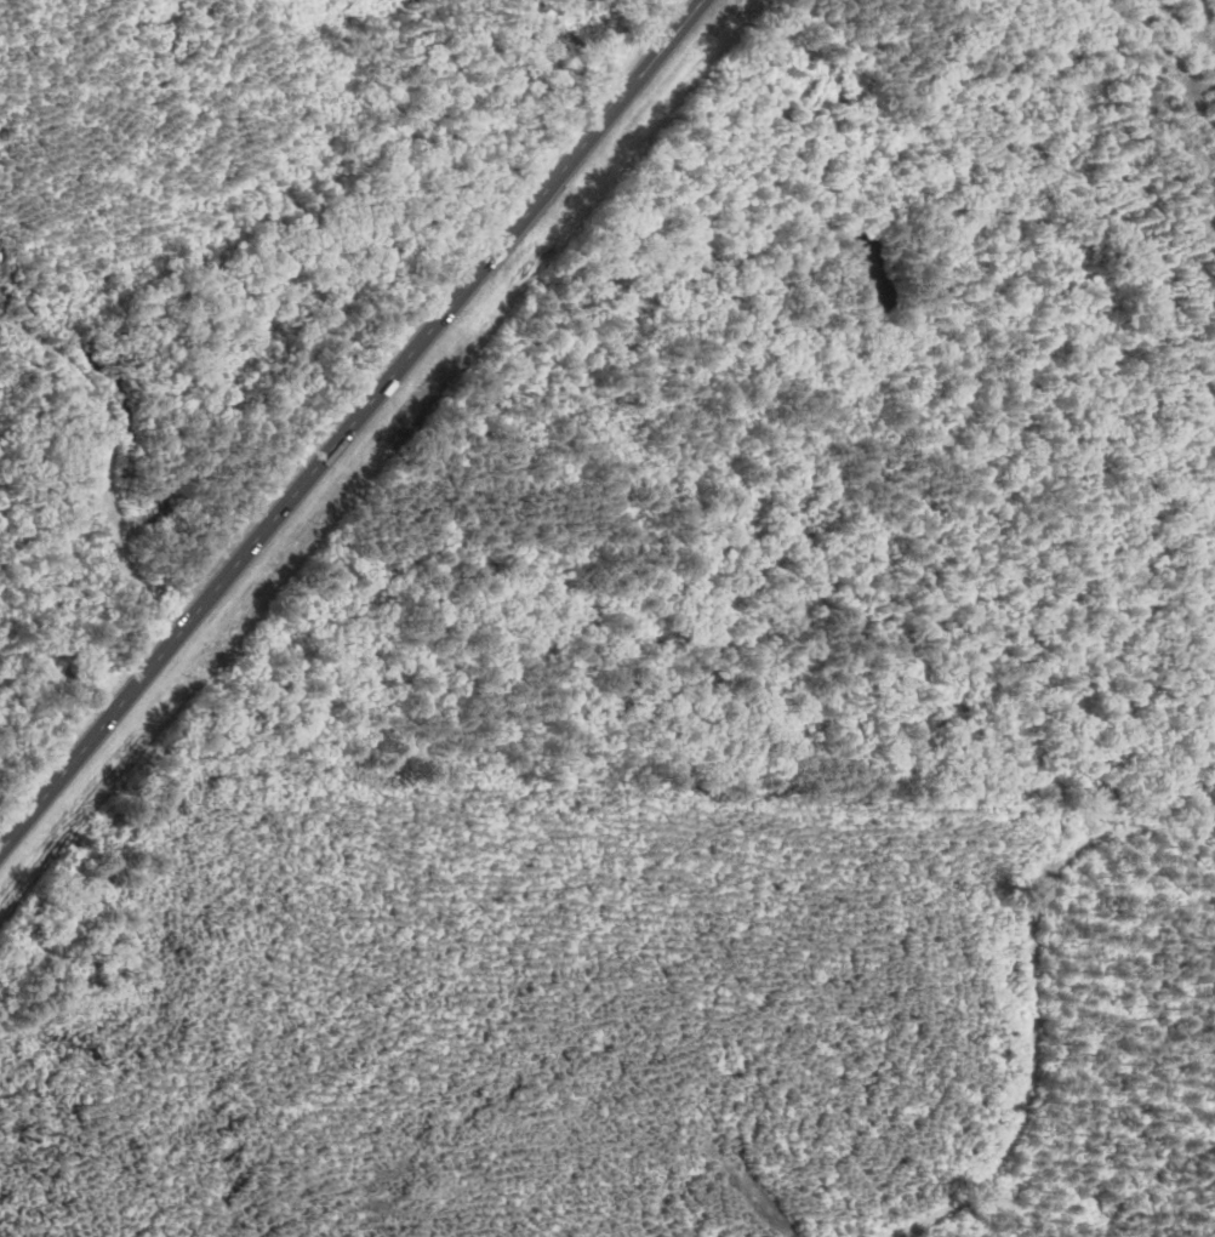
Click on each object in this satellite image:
road: (350, 424)

